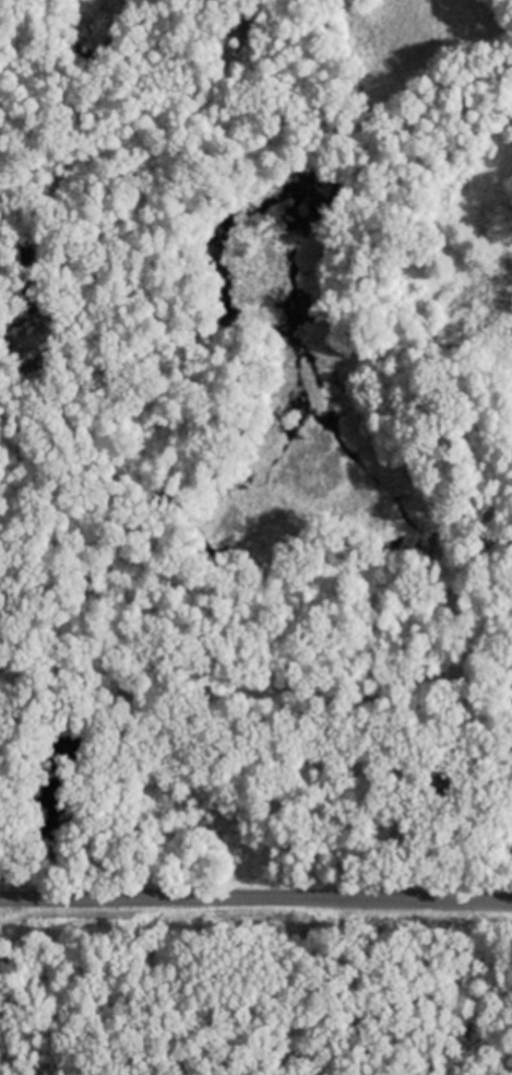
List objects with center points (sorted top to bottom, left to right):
road: (255, 905)

